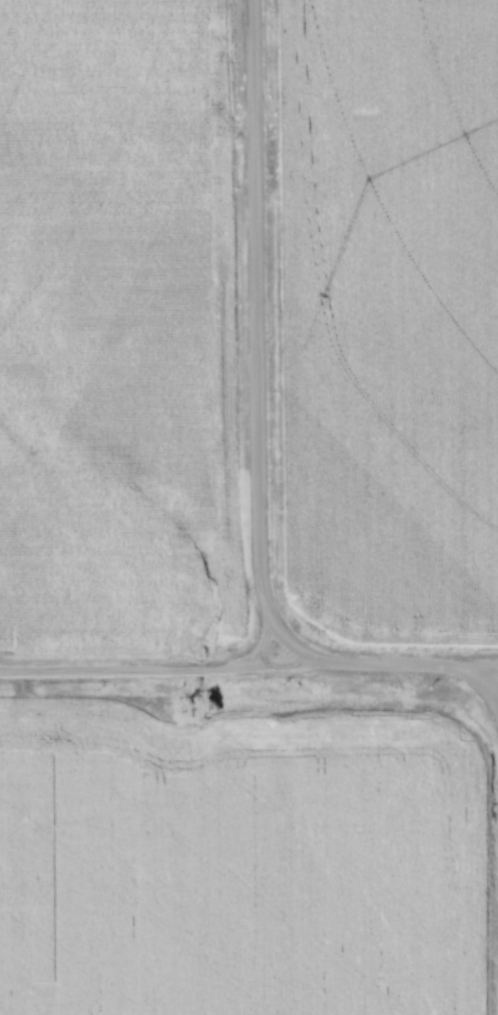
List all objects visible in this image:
road: (251, 342)
road: (295, 653)
road: (249, 672)

